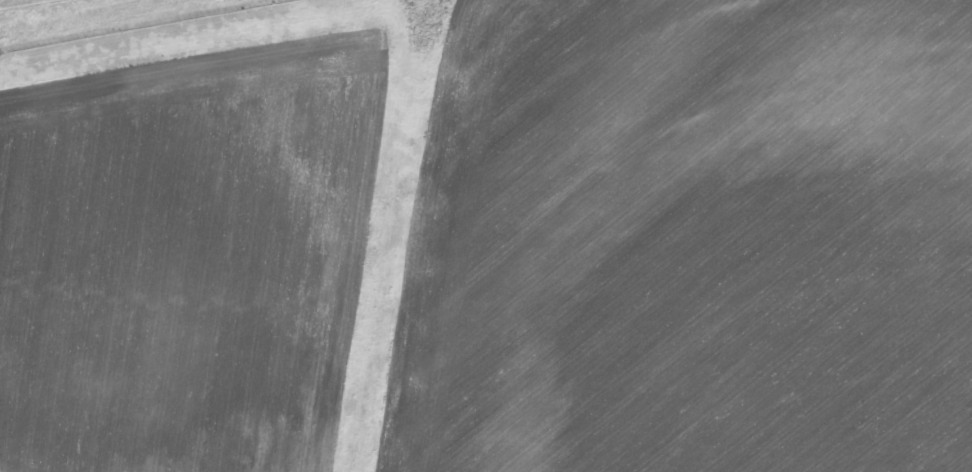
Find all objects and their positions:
road: (20, 3)

